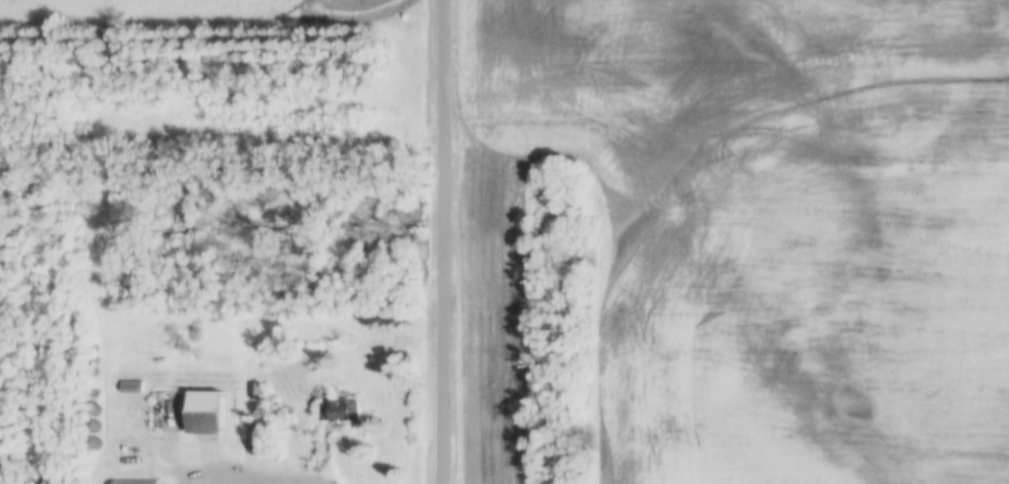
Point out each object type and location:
road: (443, 242)
building: (130, 386)
building: (338, 411)
building: (206, 412)
building: (260, 436)
building: (92, 445)
building: (89, 466)
building: (133, 481)

